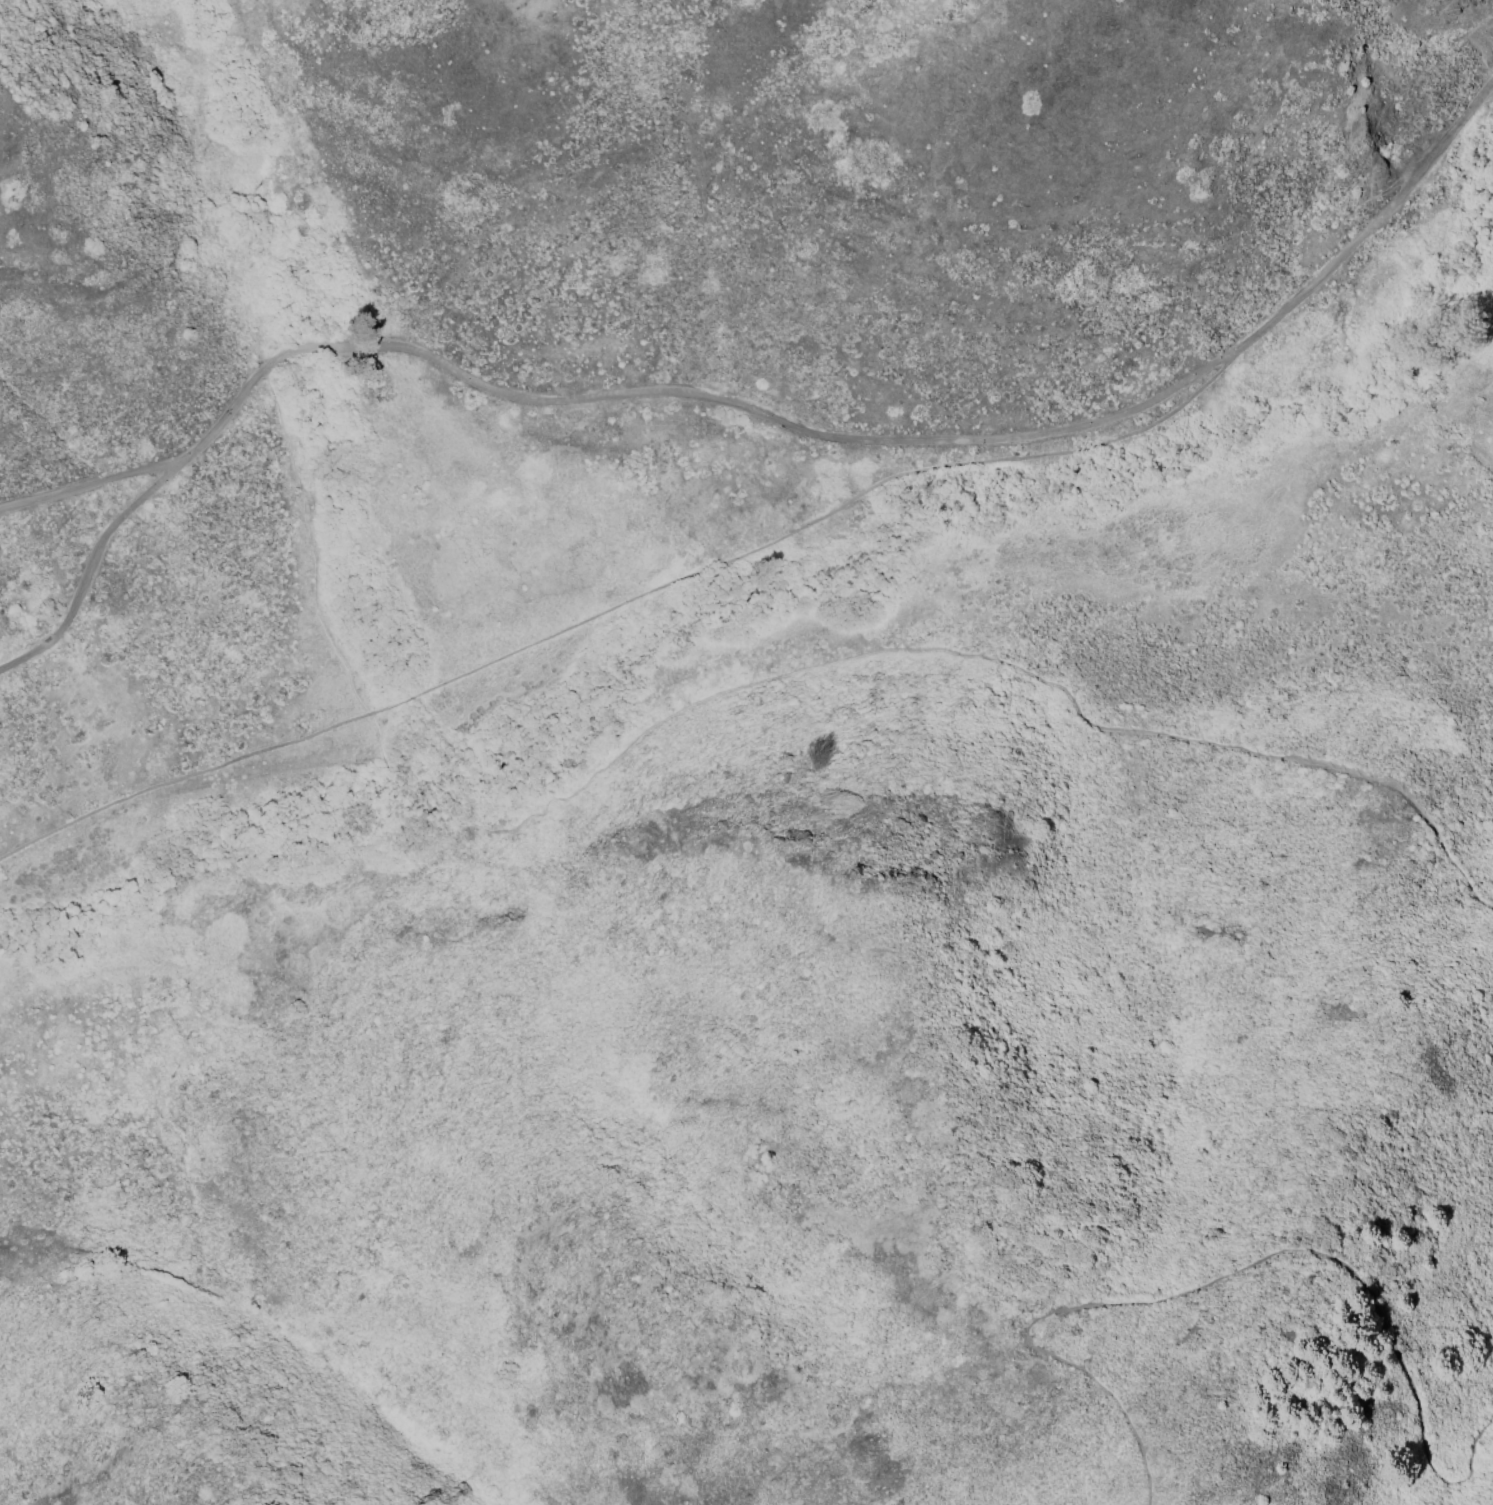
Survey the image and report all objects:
road: (219, 421)
road: (931, 440)
road: (86, 486)
road: (312, 544)
road: (88, 571)
road: (626, 610)
road: (918, 650)
road: (1244, 1268)

